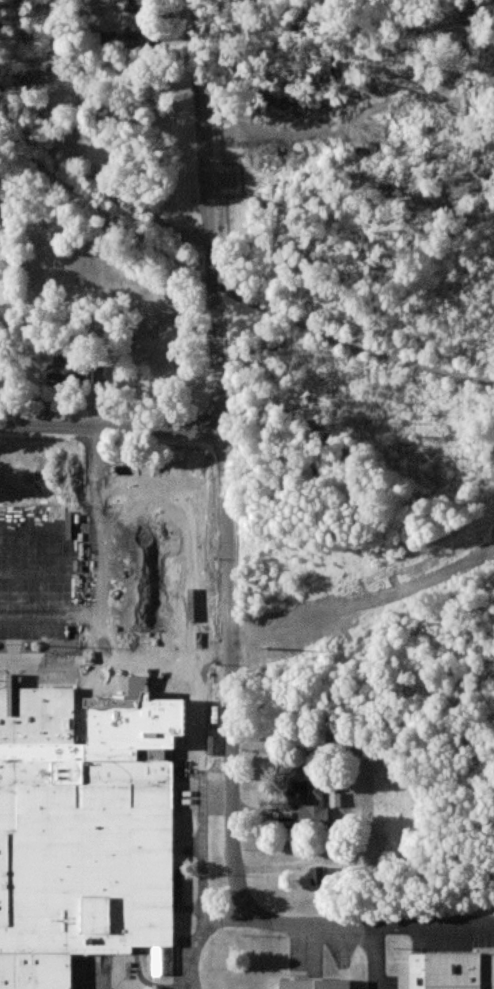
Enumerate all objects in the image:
building: (140, 6)
building: (109, 36)
building: (97, 324)
building: (75, 372)
road: (112, 427)
road: (224, 458)
road: (101, 524)
road: (206, 571)
road: (103, 575)
road: (103, 620)
road: (208, 639)
road: (219, 658)
road: (137, 701)
building: (154, 755)
building: (311, 803)
road: (201, 817)
building: (85, 831)
building: (319, 876)
road: (313, 928)
road: (438, 929)
road: (200, 937)
road: (383, 958)
building: (453, 971)
building: (318, 985)

